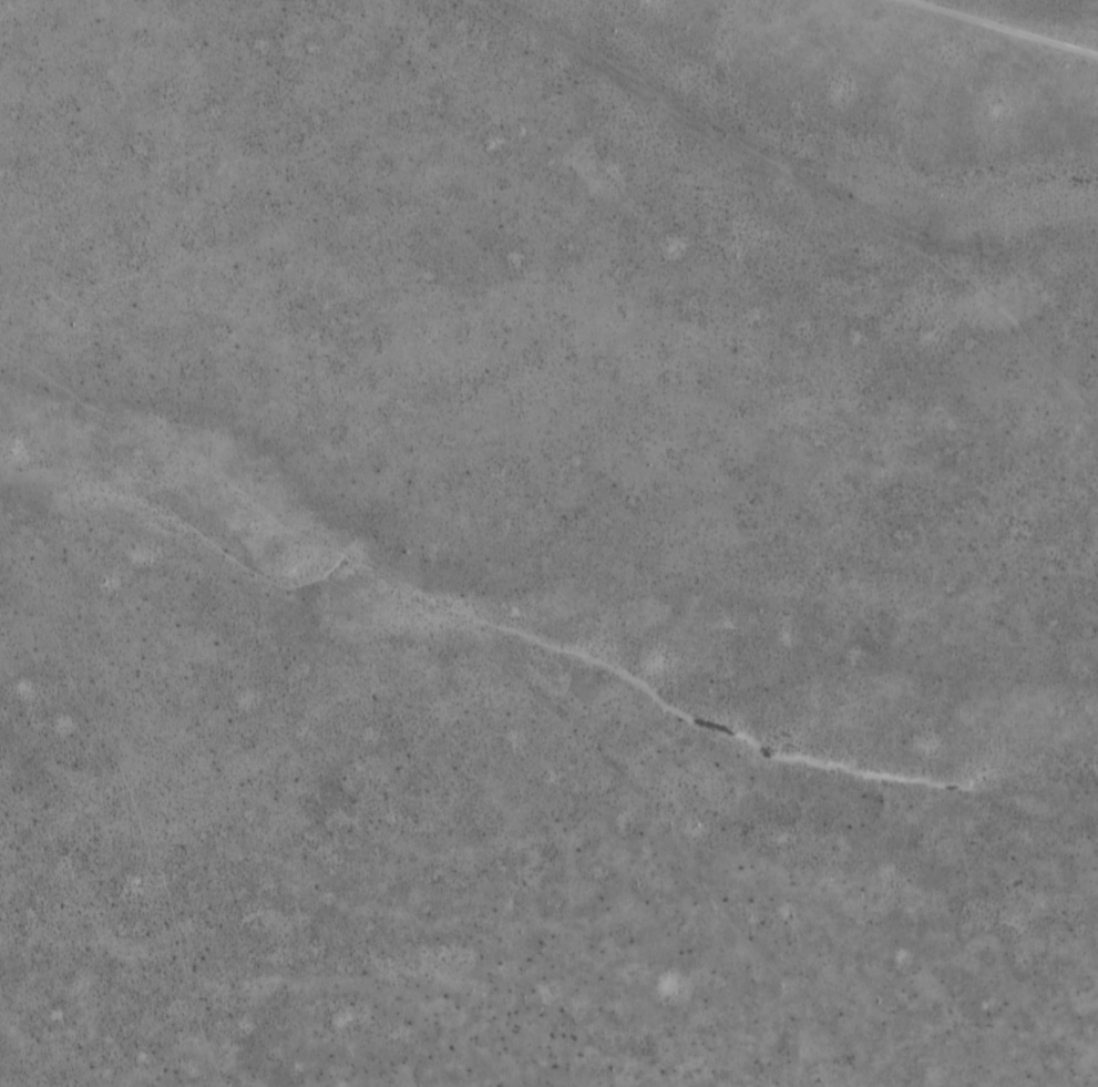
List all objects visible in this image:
road: (996, 29)

